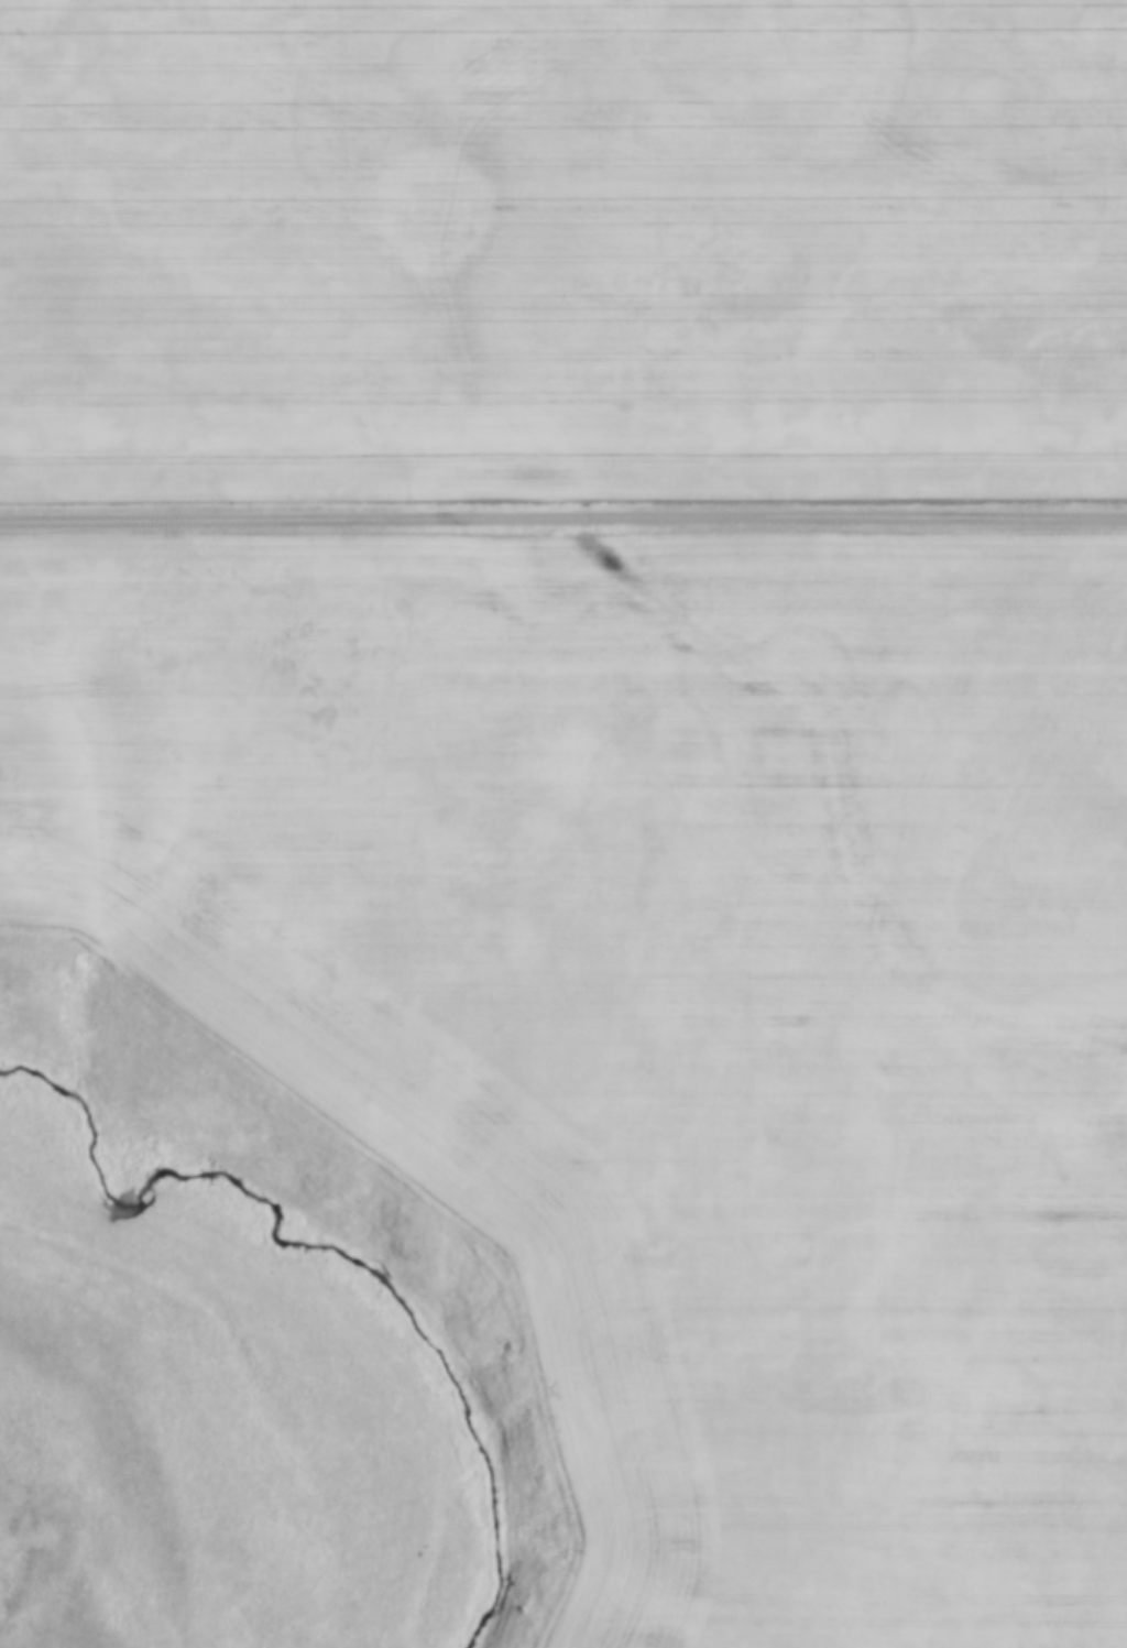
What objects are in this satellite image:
road: (563, 514)

